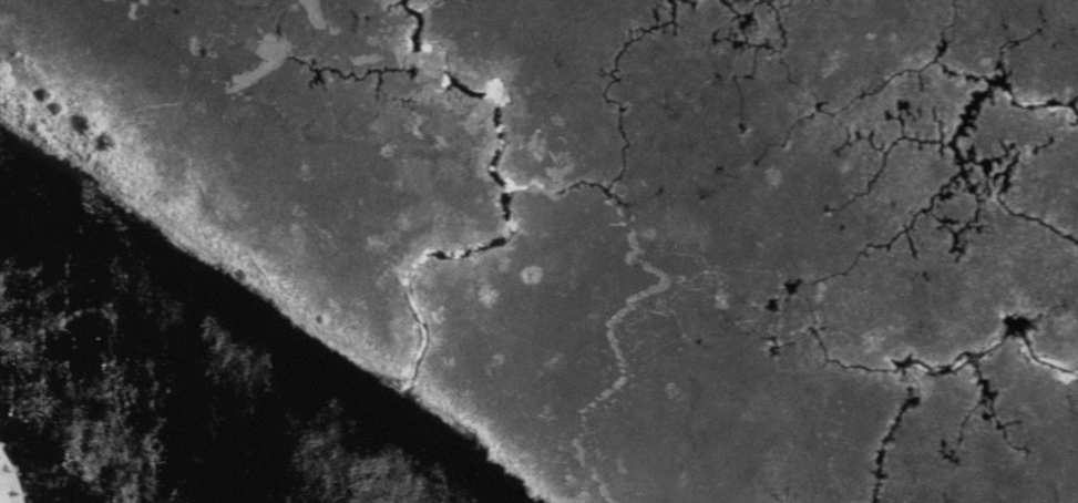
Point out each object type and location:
river: (95, 394)

